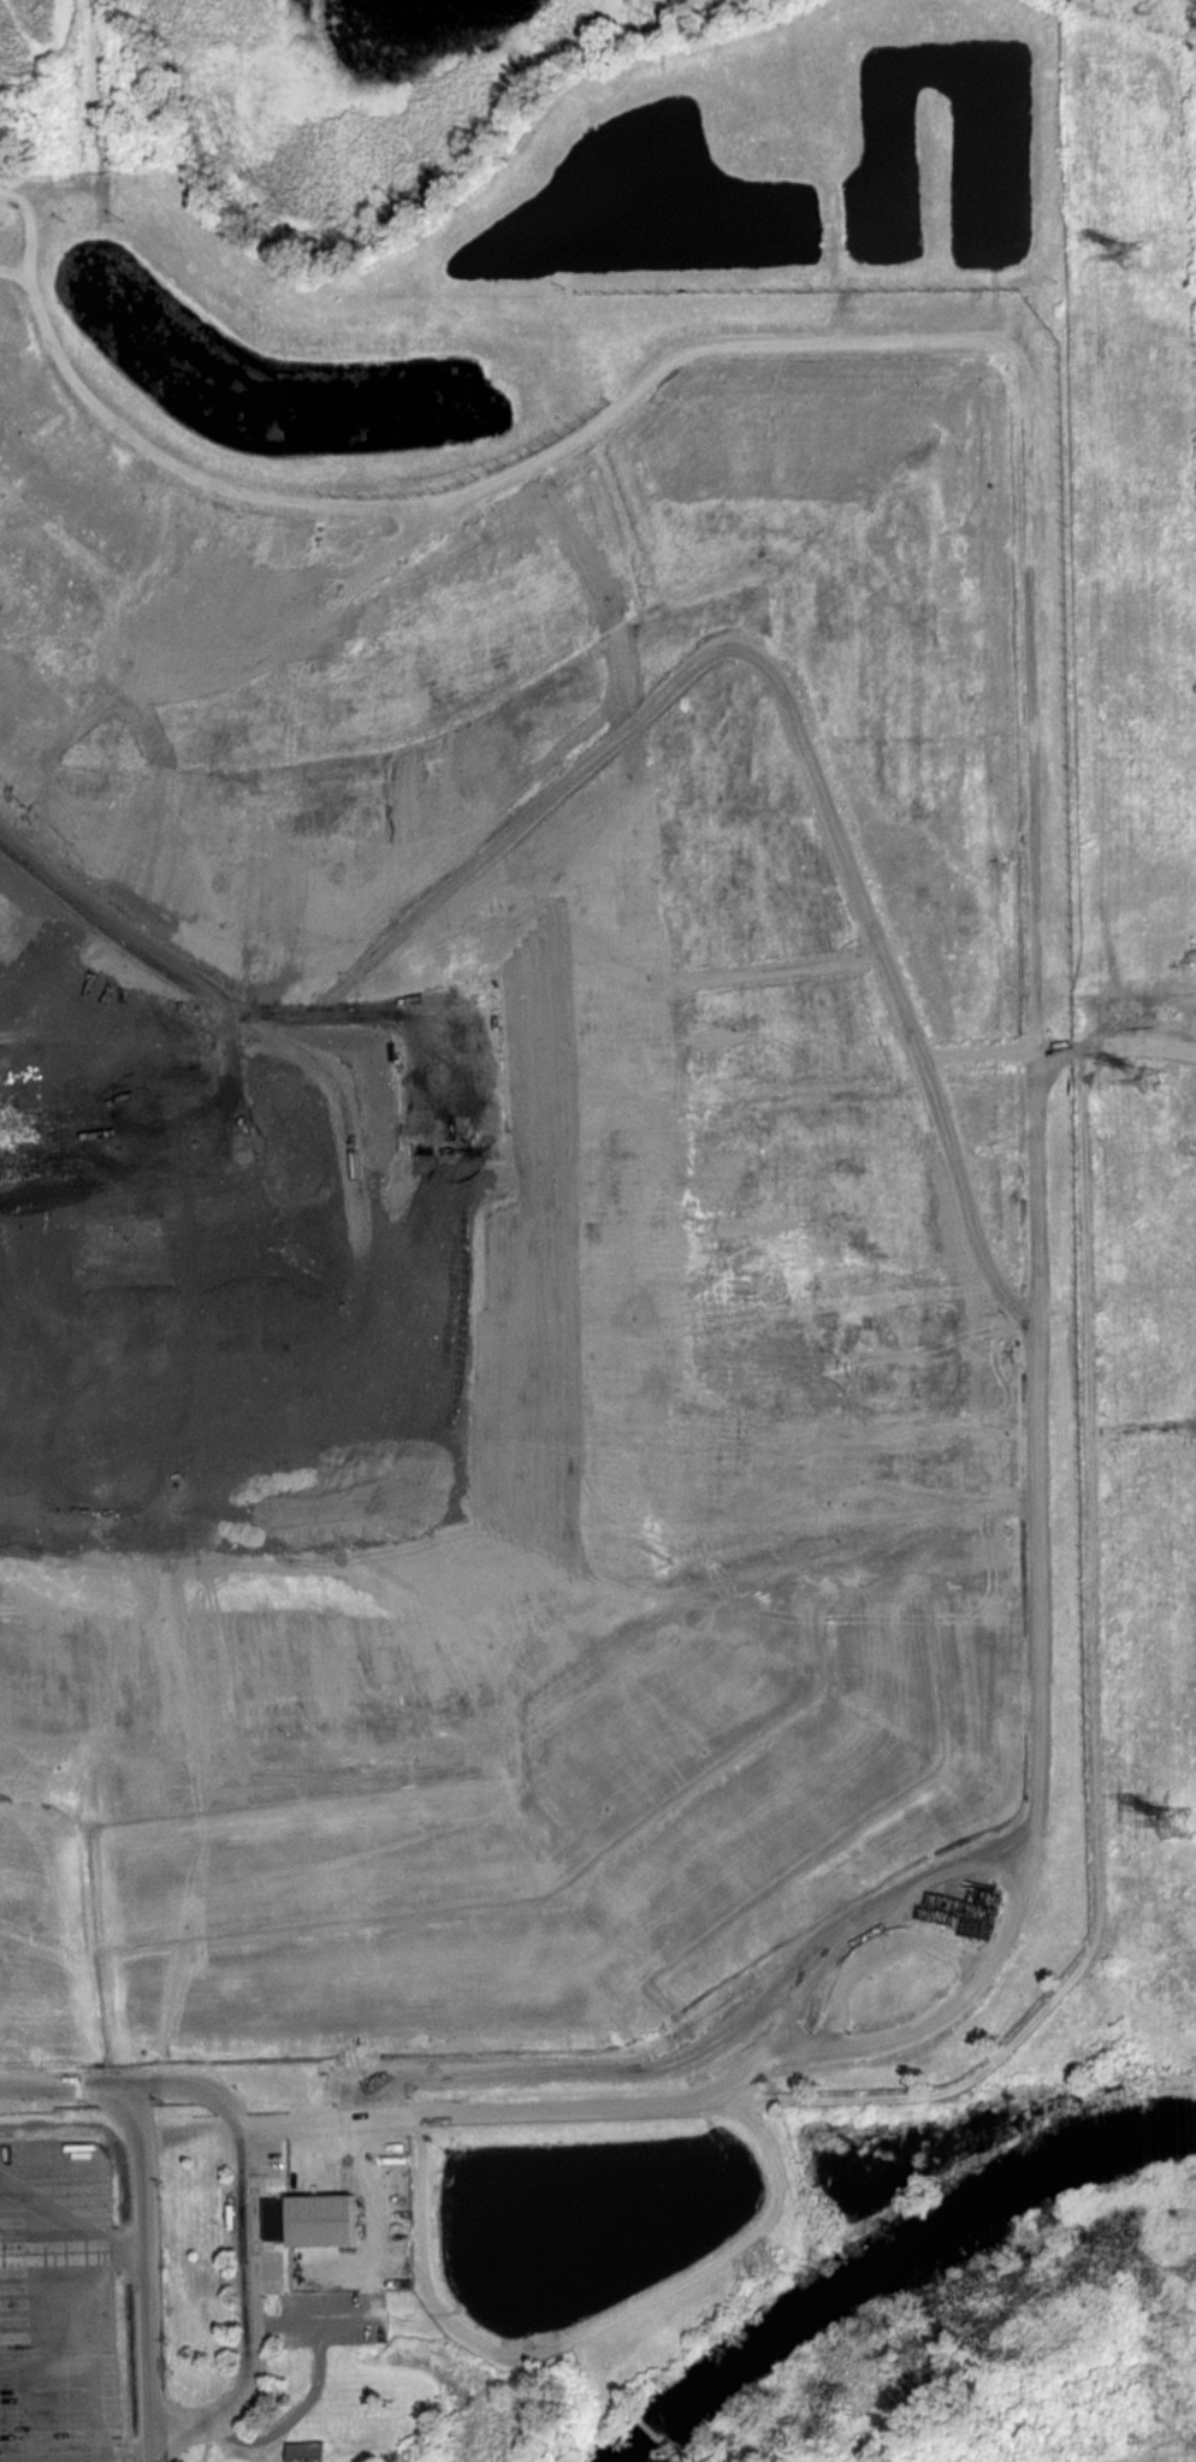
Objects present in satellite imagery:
power tower: (1129, 258)
road: (426, 503)
power tower: (1155, 1079)
landfill: (609, 1097)
power tower: (1184, 1810)
road: (77, 2083)
building: (306, 2218)
road: (70, 2223)
road: (147, 2288)
parking lot: (73, 2290)
road: (89, 2362)
building: (307, 2451)
road: (125, 2452)
road: (48, 2454)

